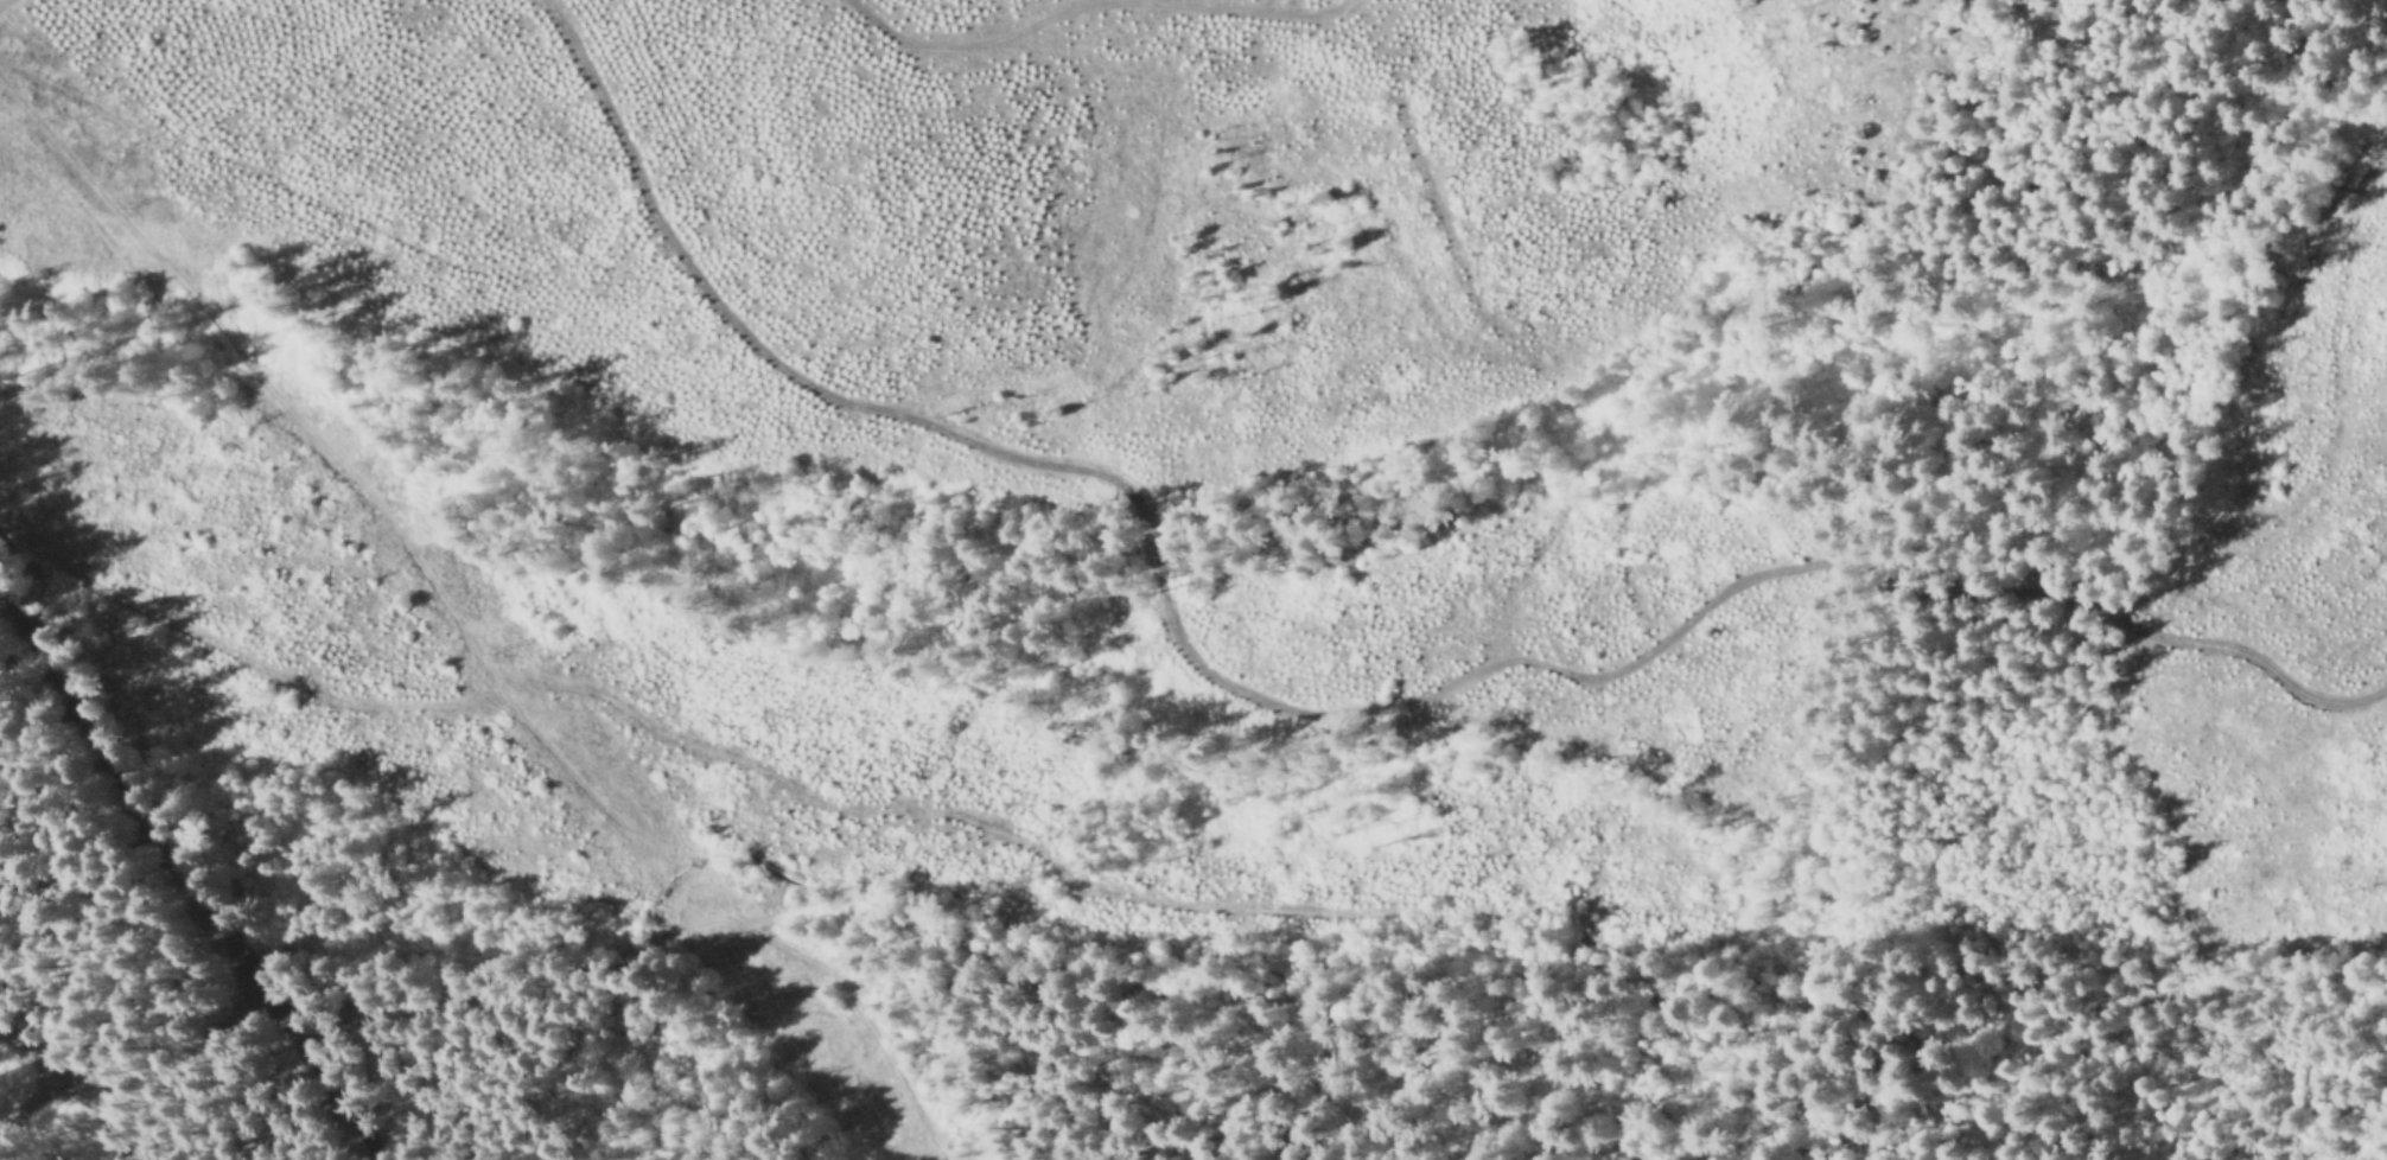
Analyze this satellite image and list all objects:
road: (177, 874)
road: (844, 970)
parking lot: (257, 1005)
road: (2235, 1034)
road: (1592, 1135)

